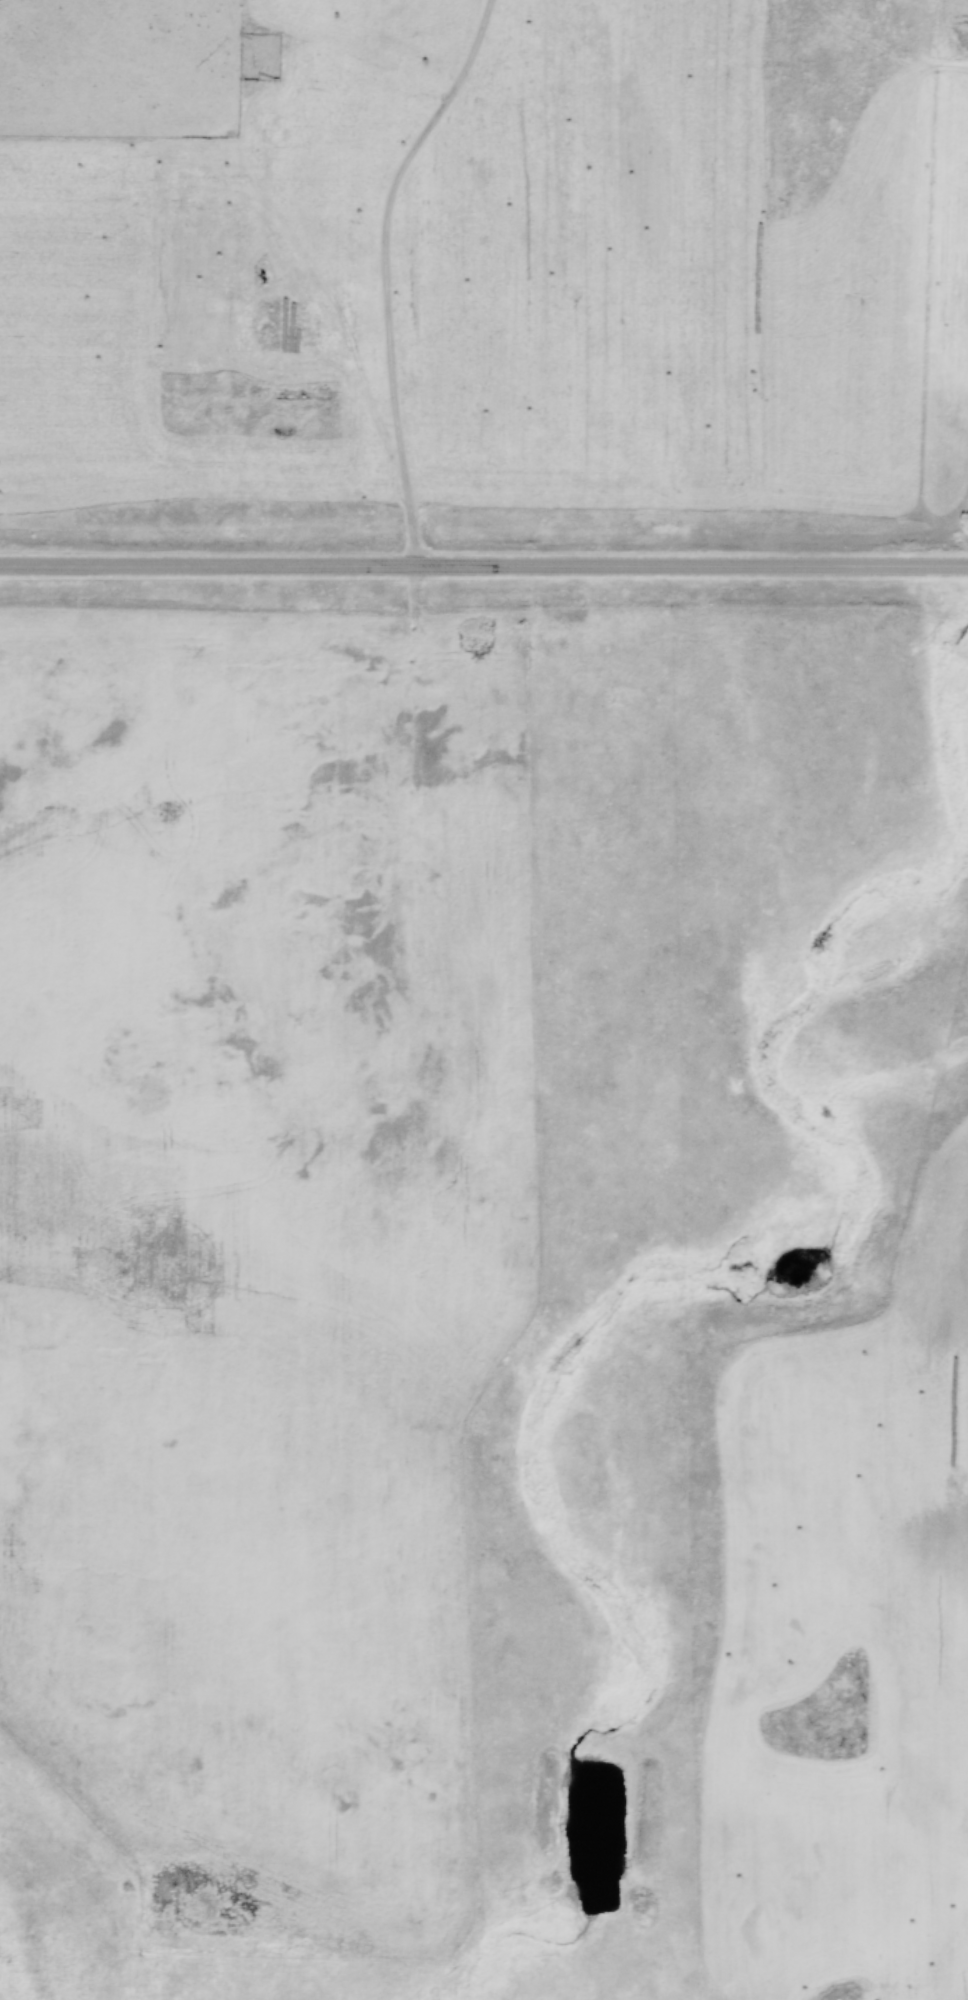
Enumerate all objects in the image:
road: (380, 288)
road: (483, 561)

